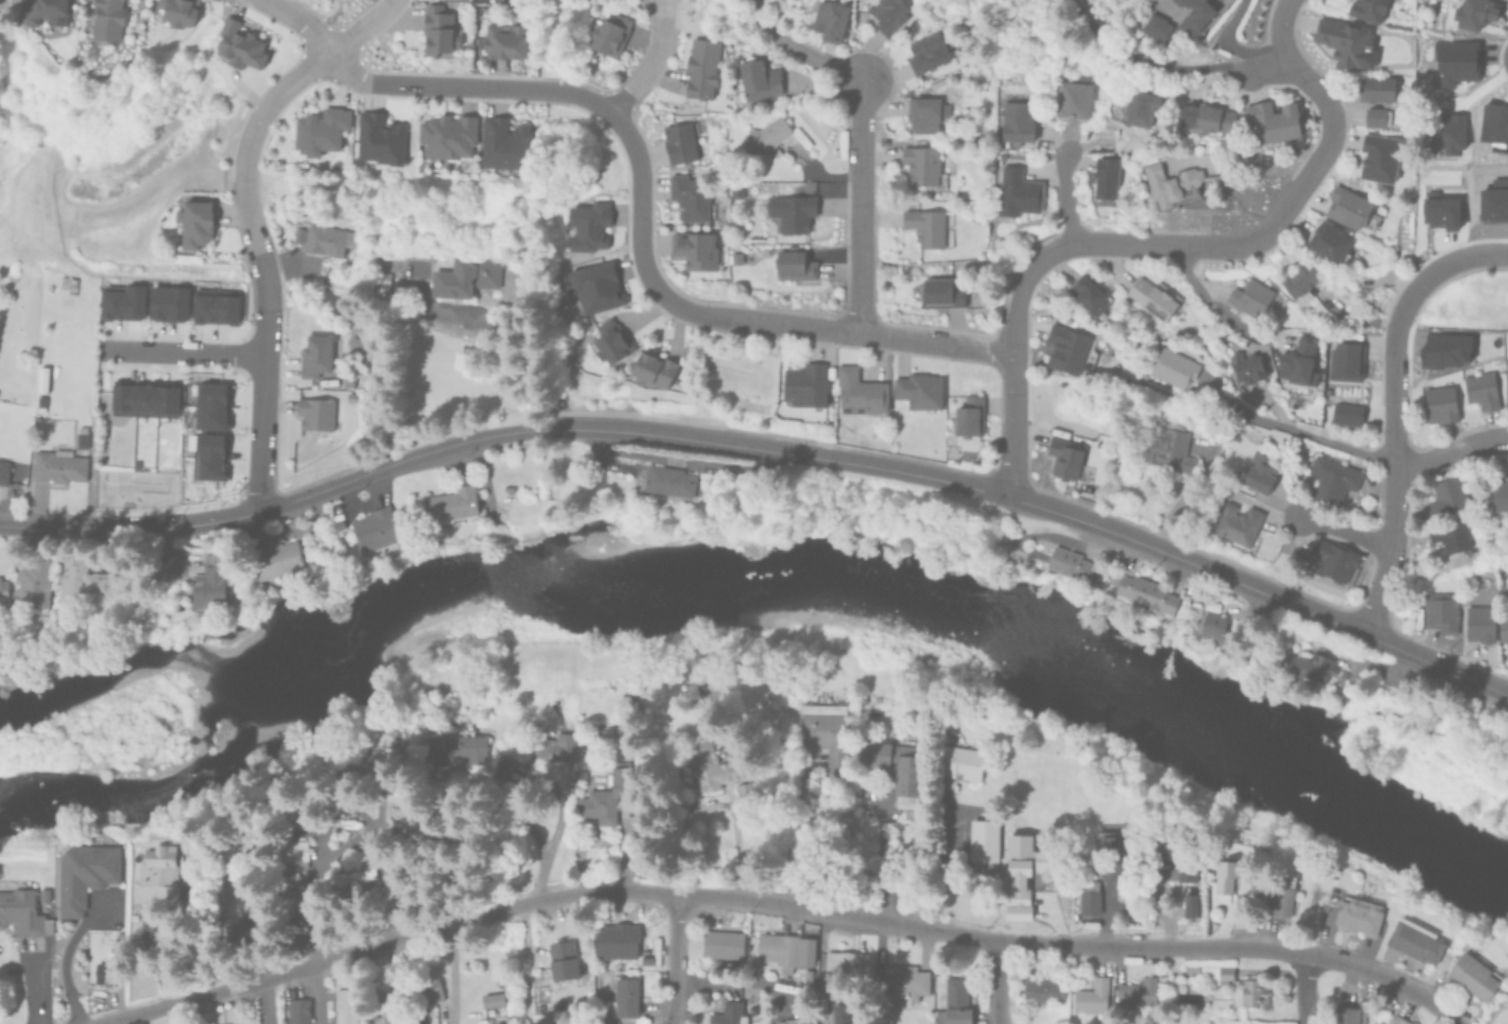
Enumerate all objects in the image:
building: (1365, 9)
building: (46, 12)
building: (177, 12)
building: (1473, 12)
building: (886, 15)
building: (1195, 15)
building: (830, 19)
building: (106, 20)
road: (301, 20)
building: (1157, 26)
building: (438, 32)
road: (1279, 34)
building: (610, 35)
road: (1226, 38)
building: (1341, 39)
building: (505, 41)
building: (239, 47)
road: (798, 49)
building: (927, 54)
road: (1145, 60)
building: (1454, 61)
road: (648, 62)
building: (702, 68)
building: (759, 80)
building: (1375, 87)
building: (1076, 97)
building: (1139, 99)
building: (924, 113)
building: (1374, 115)
building: (1202, 117)
building: (1272, 118)
building: (1494, 122)
building: (1017, 123)
building: (321, 129)
building: (448, 136)
building: (766, 136)
building: (379, 138)
building: (1106, 139)
building: (681, 142)
building: (504, 144)
building: (1376, 156)
road: (1242, 161)
building: (922, 166)
building: (1105, 181)
building: (1172, 183)
building: (801, 188)
building: (1019, 192)
building: (736, 193)
building: (689, 198)
road: (1065, 198)
building: (1347, 206)
road: (860, 207)
building: (1440, 211)
building: (791, 213)
road: (251, 224)
building: (589, 226)
building: (193, 227)
building: (929, 227)
road: (639, 233)
building: (298, 234)
building: (326, 240)
road: (1148, 244)
building: (1328, 244)
building: (695, 250)
road: (1452, 256)
building: (736, 257)
building: (795, 264)
building: (463, 276)
building: (67, 280)
building: (1298, 282)
building: (379, 285)
building: (595, 286)
building: (942, 292)
building: (1092, 293)
building: (1249, 296)
building: (1152, 297)
road: (1206, 300)
building: (123, 302)
building: (168, 302)
building: (215, 308)
building: (611, 341)
road: (509, 344)
building: (1070, 350)
road: (184, 352)
building: (316, 356)
building: (1344, 360)
building: (1295, 362)
building: (352, 364)
building: (1171, 365)
building: (1245, 366)
building: (653, 370)
building: (41, 379)
building: (347, 379)
building: (806, 386)
building: (1480, 388)
building: (859, 391)
building: (919, 392)
building: (144, 399)
building: (1439, 403)
building: (40, 404)
building: (210, 405)
building: (315, 413)
building: (1346, 413)
building: (969, 417)
building: (80, 438)
road: (1315, 439)
building: (1169, 445)
road: (1450, 449)
building: (209, 456)
building: (1068, 460)
road: (1391, 464)
building: (57, 466)
building: (1257, 471)
building: (3, 472)
building: (1331, 476)
building: (673, 480)
building: (1498, 493)
building: (1445, 495)
road: (290, 503)
building: (452, 503)
road: (1054, 514)
building: (1236, 523)
road: (1343, 530)
building: (377, 531)
building: (1448, 533)
building: (1333, 558)
building: (273, 559)
building: (119, 563)
building: (1071, 563)
river: (749, 579)
building: (79, 580)
building: (211, 580)
building: (32, 584)
building: (2, 592)
building: (1148, 593)
building: (1439, 609)
building: (1210, 617)
building: (1478, 621)
building: (1503, 626)
building: (1316, 665)
building: (1382, 683)
building: (826, 732)
building: (384, 744)
building: (555, 744)
building: (454, 747)
building: (876, 755)
building: (962, 762)
building: (710, 765)
building: (501, 766)
building: (338, 770)
building: (910, 775)
road: (545, 779)
building: (286, 788)
building: (607, 796)
building: (747, 796)
building: (341, 797)
road: (712, 802)
building: (984, 845)
road: (798, 846)
building: (1116, 846)
building: (294, 854)
building: (1168, 859)
road: (881, 864)
building: (158, 866)
building: (1331, 869)
building: (192, 870)
building: (1024, 872)
building: (84, 873)
building: (351, 873)
building: (289, 877)
building: (1221, 878)
road: (306, 889)
building: (1280, 893)
building: (42, 895)
building: (357, 897)
building: (290, 900)
building: (1090, 900)
road: (779, 903)
building: (1189, 903)
building: (21, 909)
building: (1355, 913)
building: (241, 930)
building: (299, 932)
building: (1413, 938)
building: (617, 943)
building: (722, 945)
building: (786, 950)
road: (64, 957)
road: (672, 957)
building: (563, 959)
building: (651, 962)
road: (523, 963)
building: (714, 964)
building: (850, 966)
building: (107, 968)
building: (1214, 971)
building: (1472, 973)
road: (449, 975)
building: (808, 976)
building: (906, 981)
road: (996, 984)
building: (431, 990)
building: (1040, 990)
building: (1248, 990)
road: (1302, 990)
road: (318, 993)
building: (1138, 993)
building: (625, 996)
building: (1092, 997)
road: (266, 1000)
building: (492, 1000)
building: (561, 1003)
building: (956, 1003)
building: (344, 1007)
building: (297, 1012)
building: (728, 1014)
building: (1347, 1015)
building: (383, 1019)
building: (600, 1019)
building: (1396, 1019)
building: (801, 1021)
building: (829, 1021)
building: (779, 1022)

